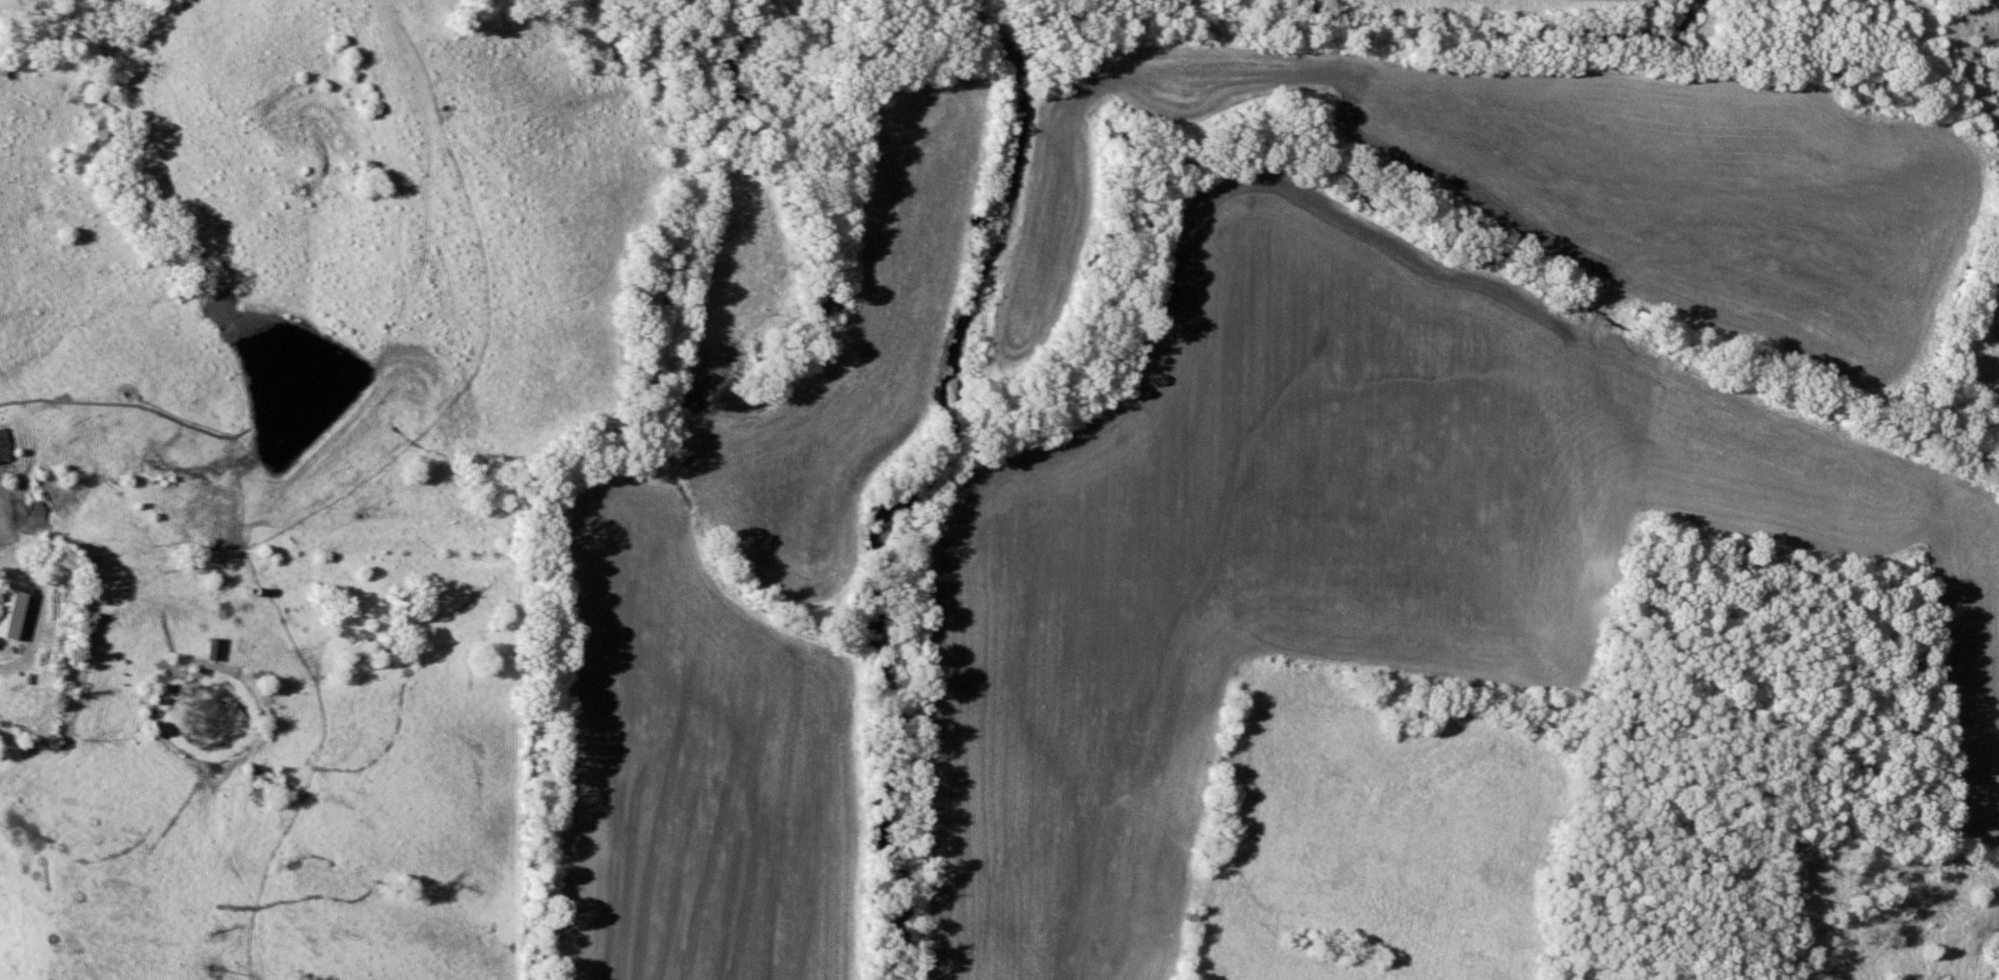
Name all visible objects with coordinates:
building: (5, 447)
building: (13, 613)

